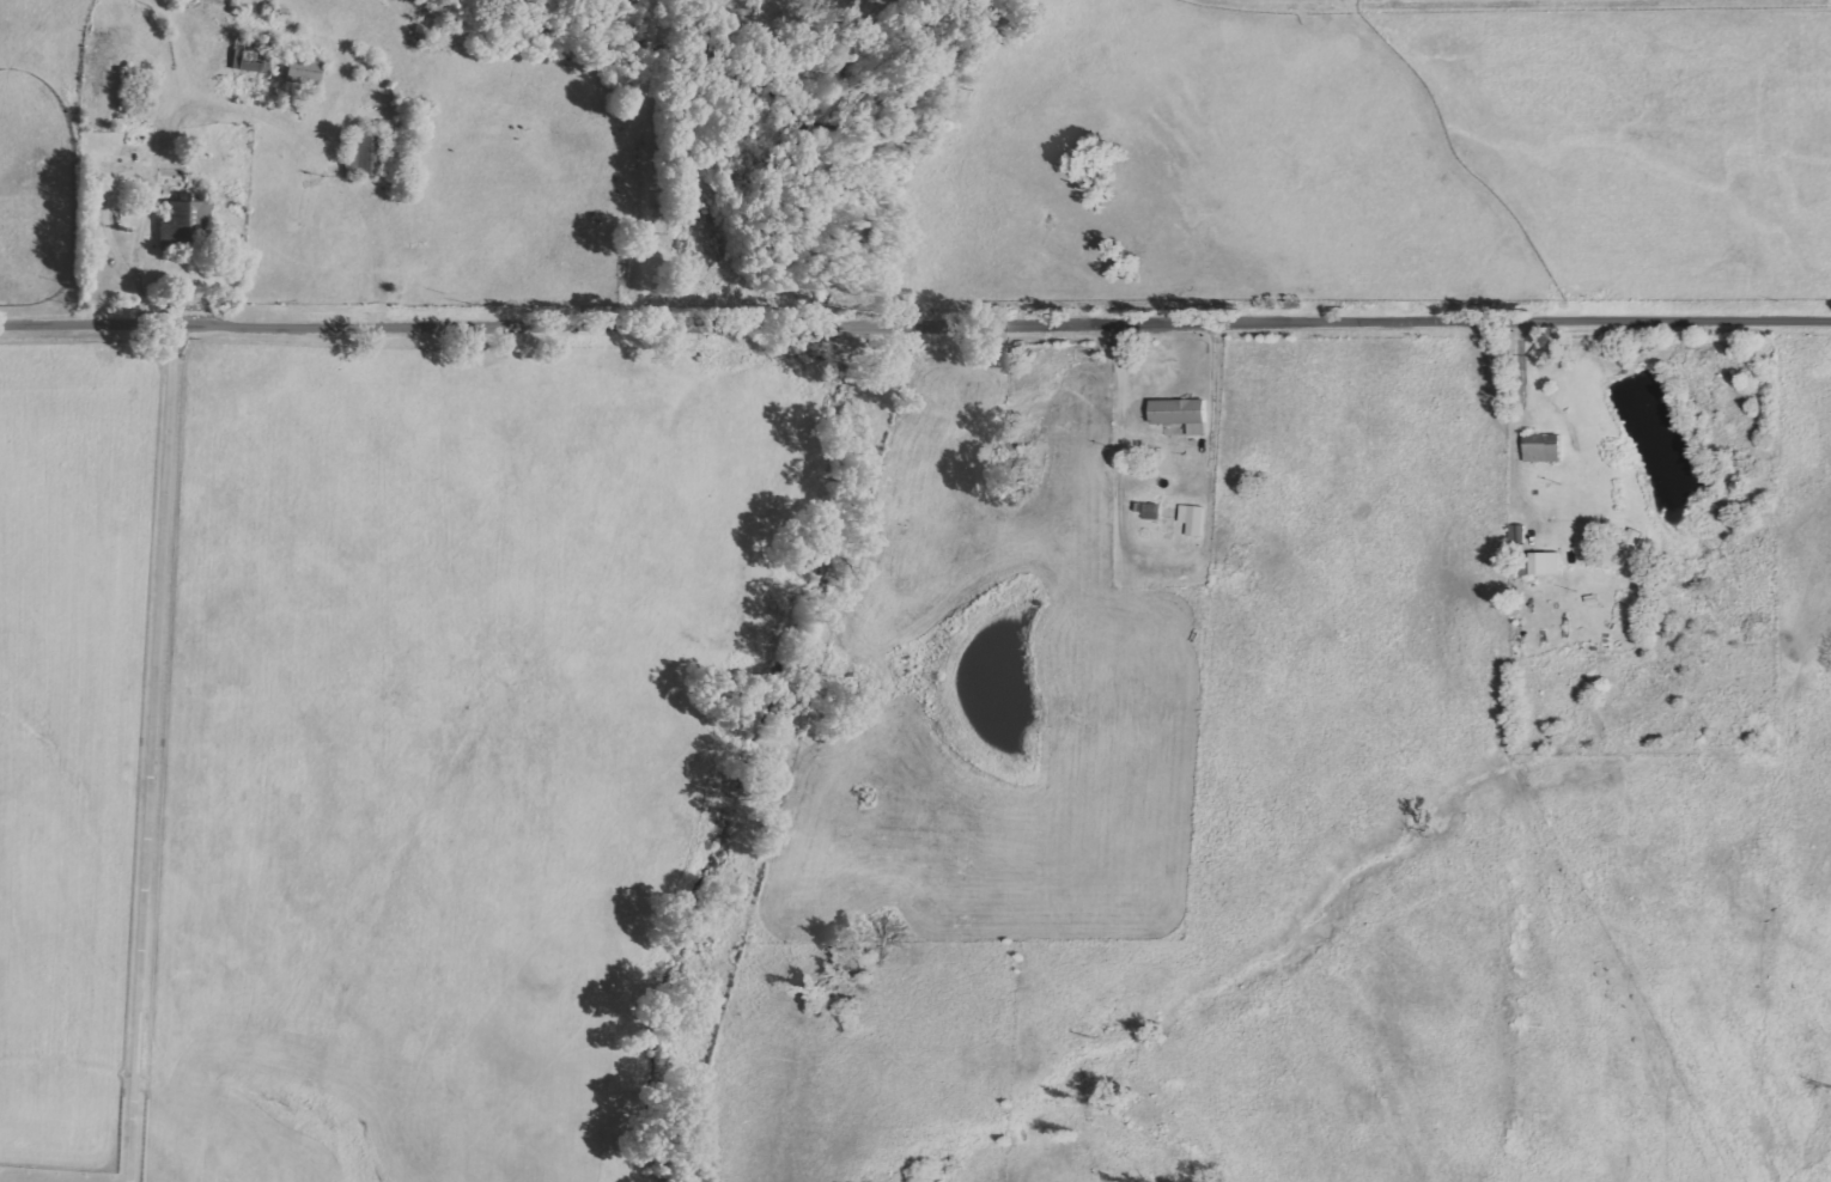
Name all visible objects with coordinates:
building: (296, 71)
building: (180, 217)
road: (915, 316)
building: (1179, 413)
building: (1540, 447)
building: (1191, 518)
building: (1543, 562)
road: (159, 584)

